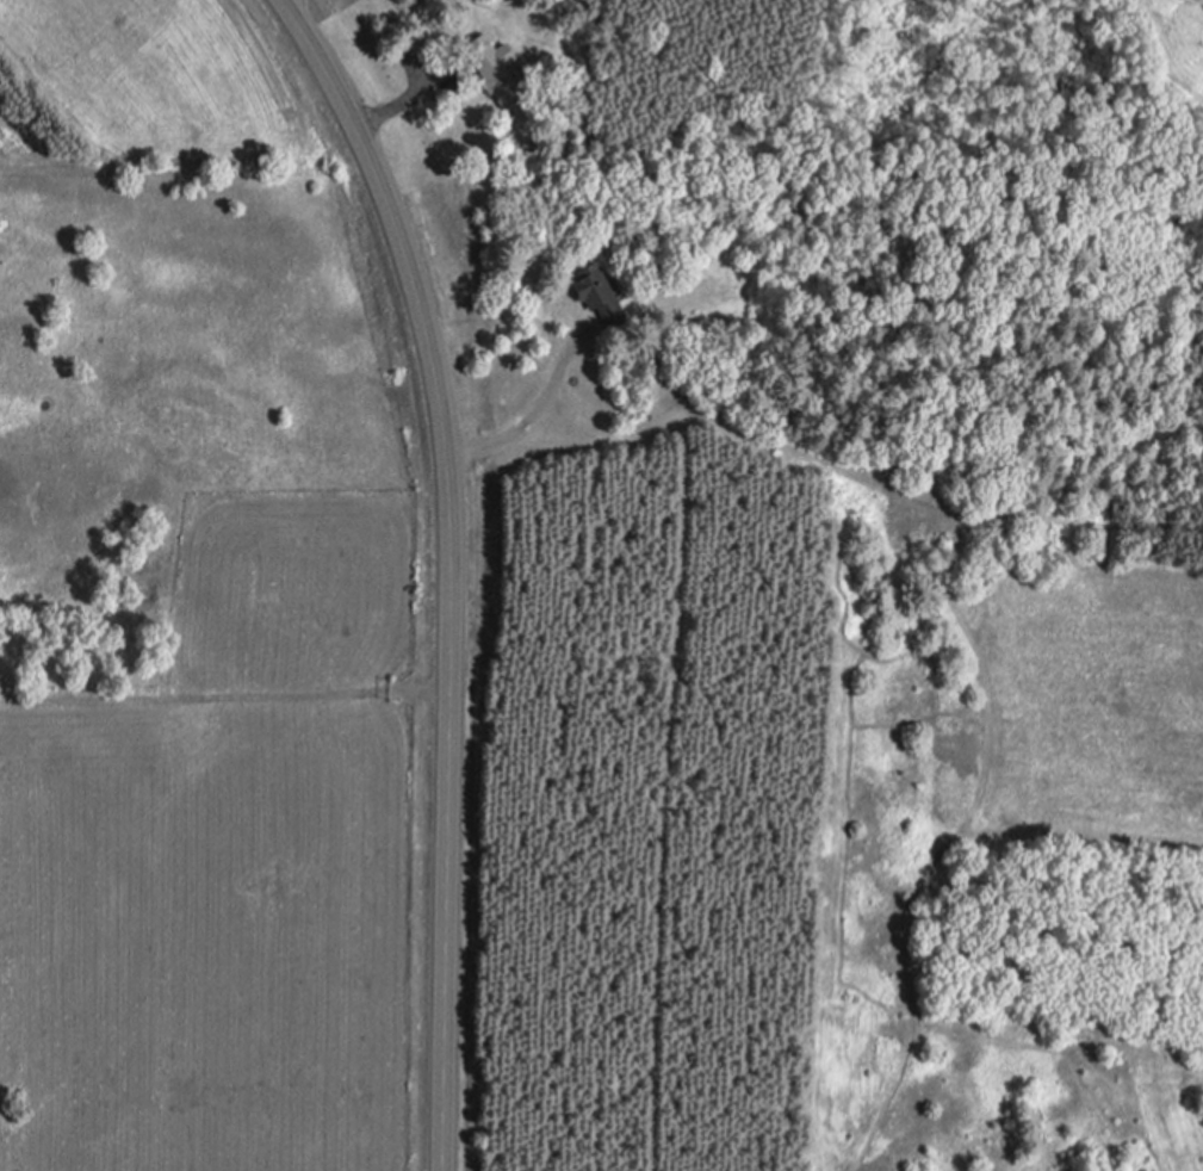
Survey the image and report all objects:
building: (492, 66)
road: (410, 97)
building: (597, 296)
road: (449, 568)

